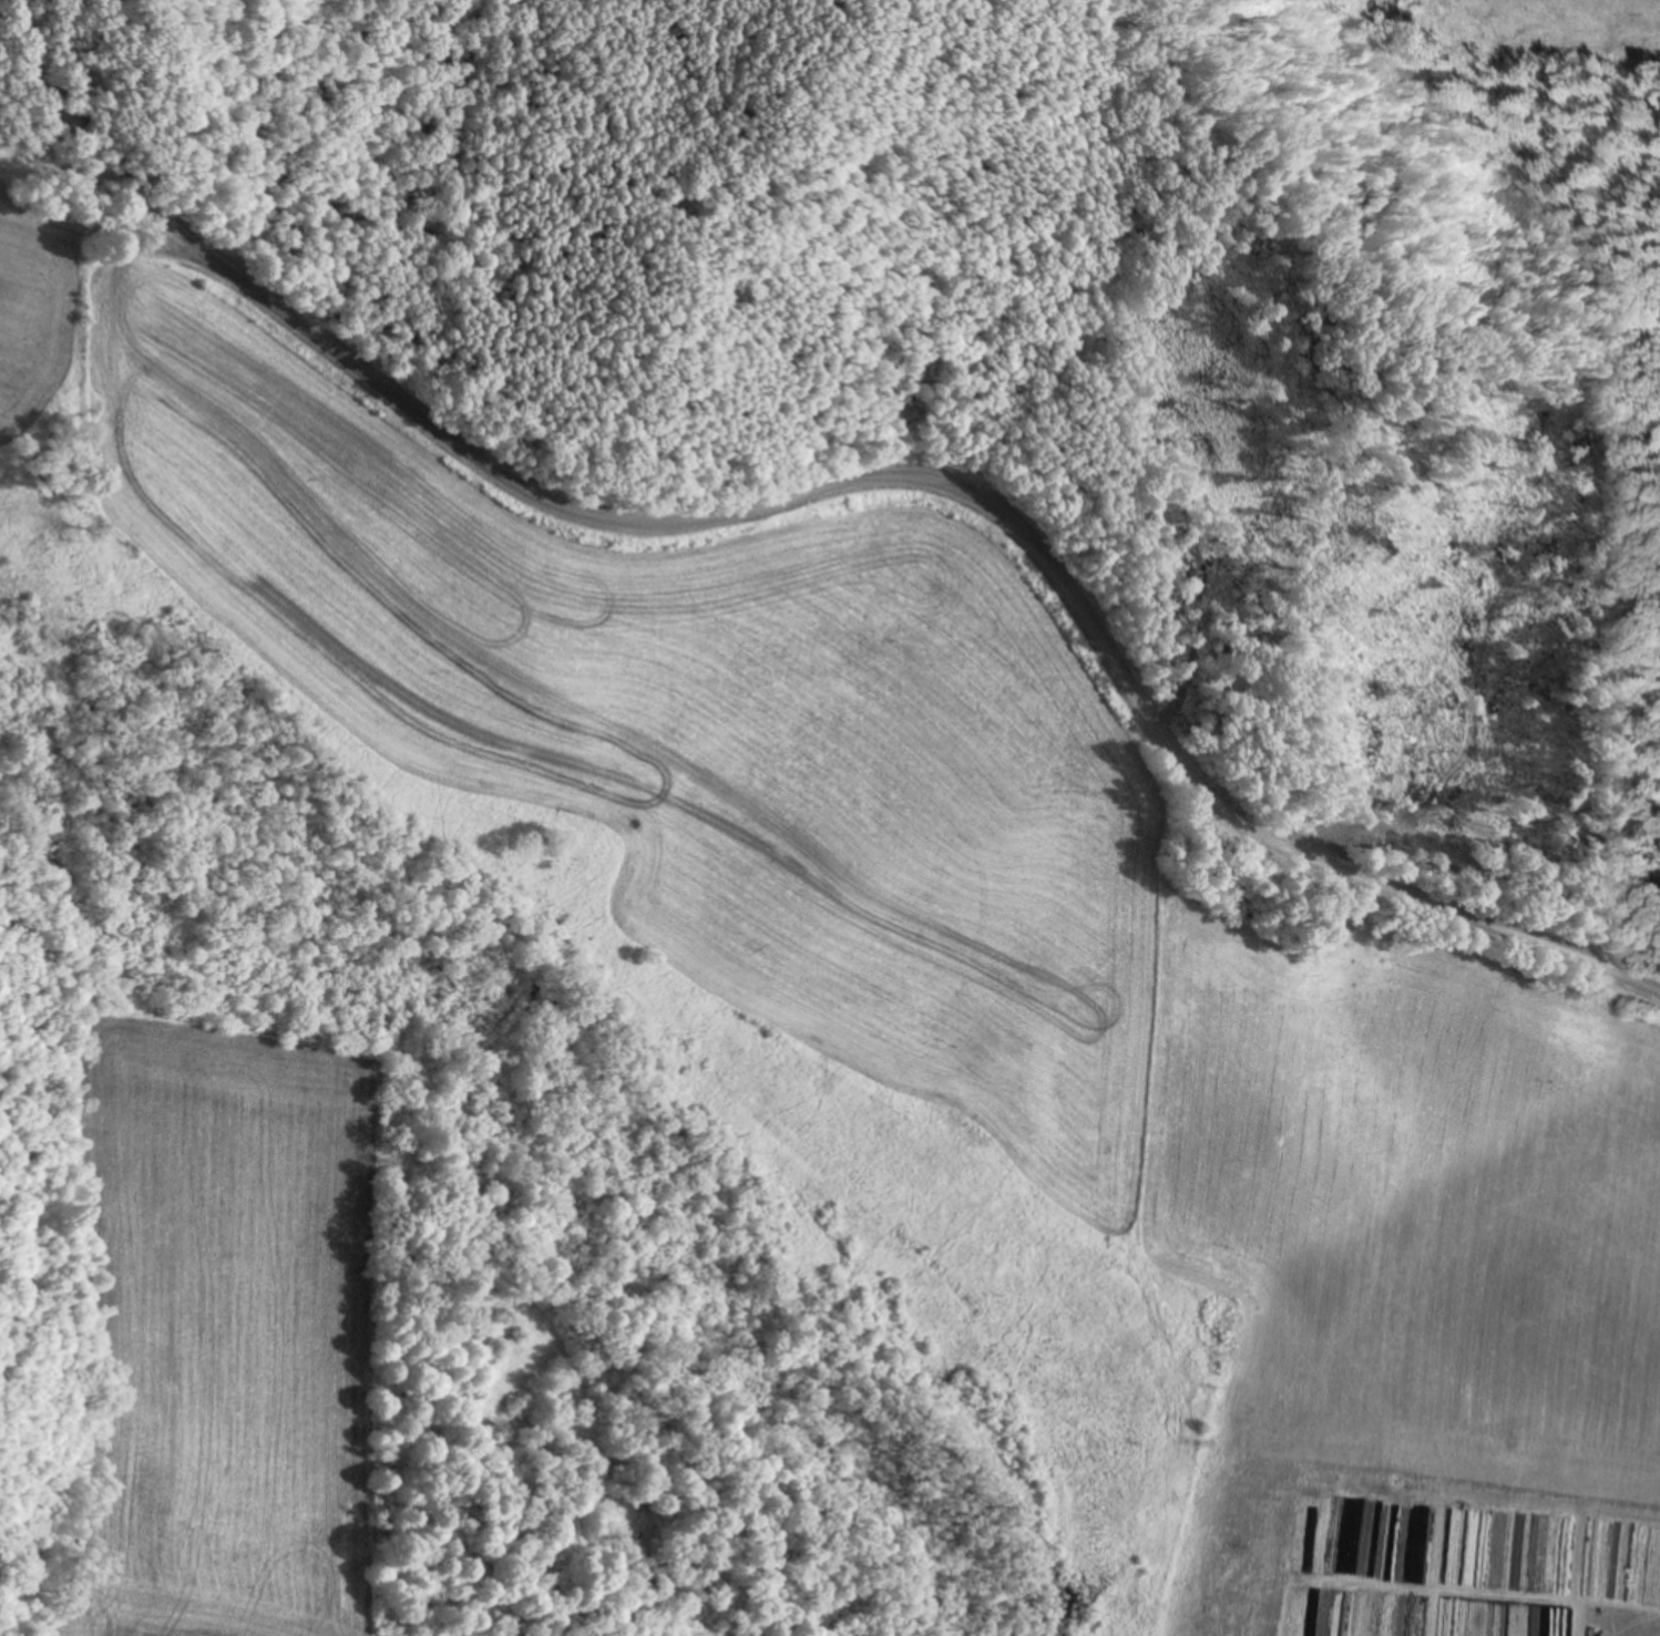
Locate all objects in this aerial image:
road: (104, 230)
road: (983, 500)
crop: (985, 927)
crop: (236, 1331)

